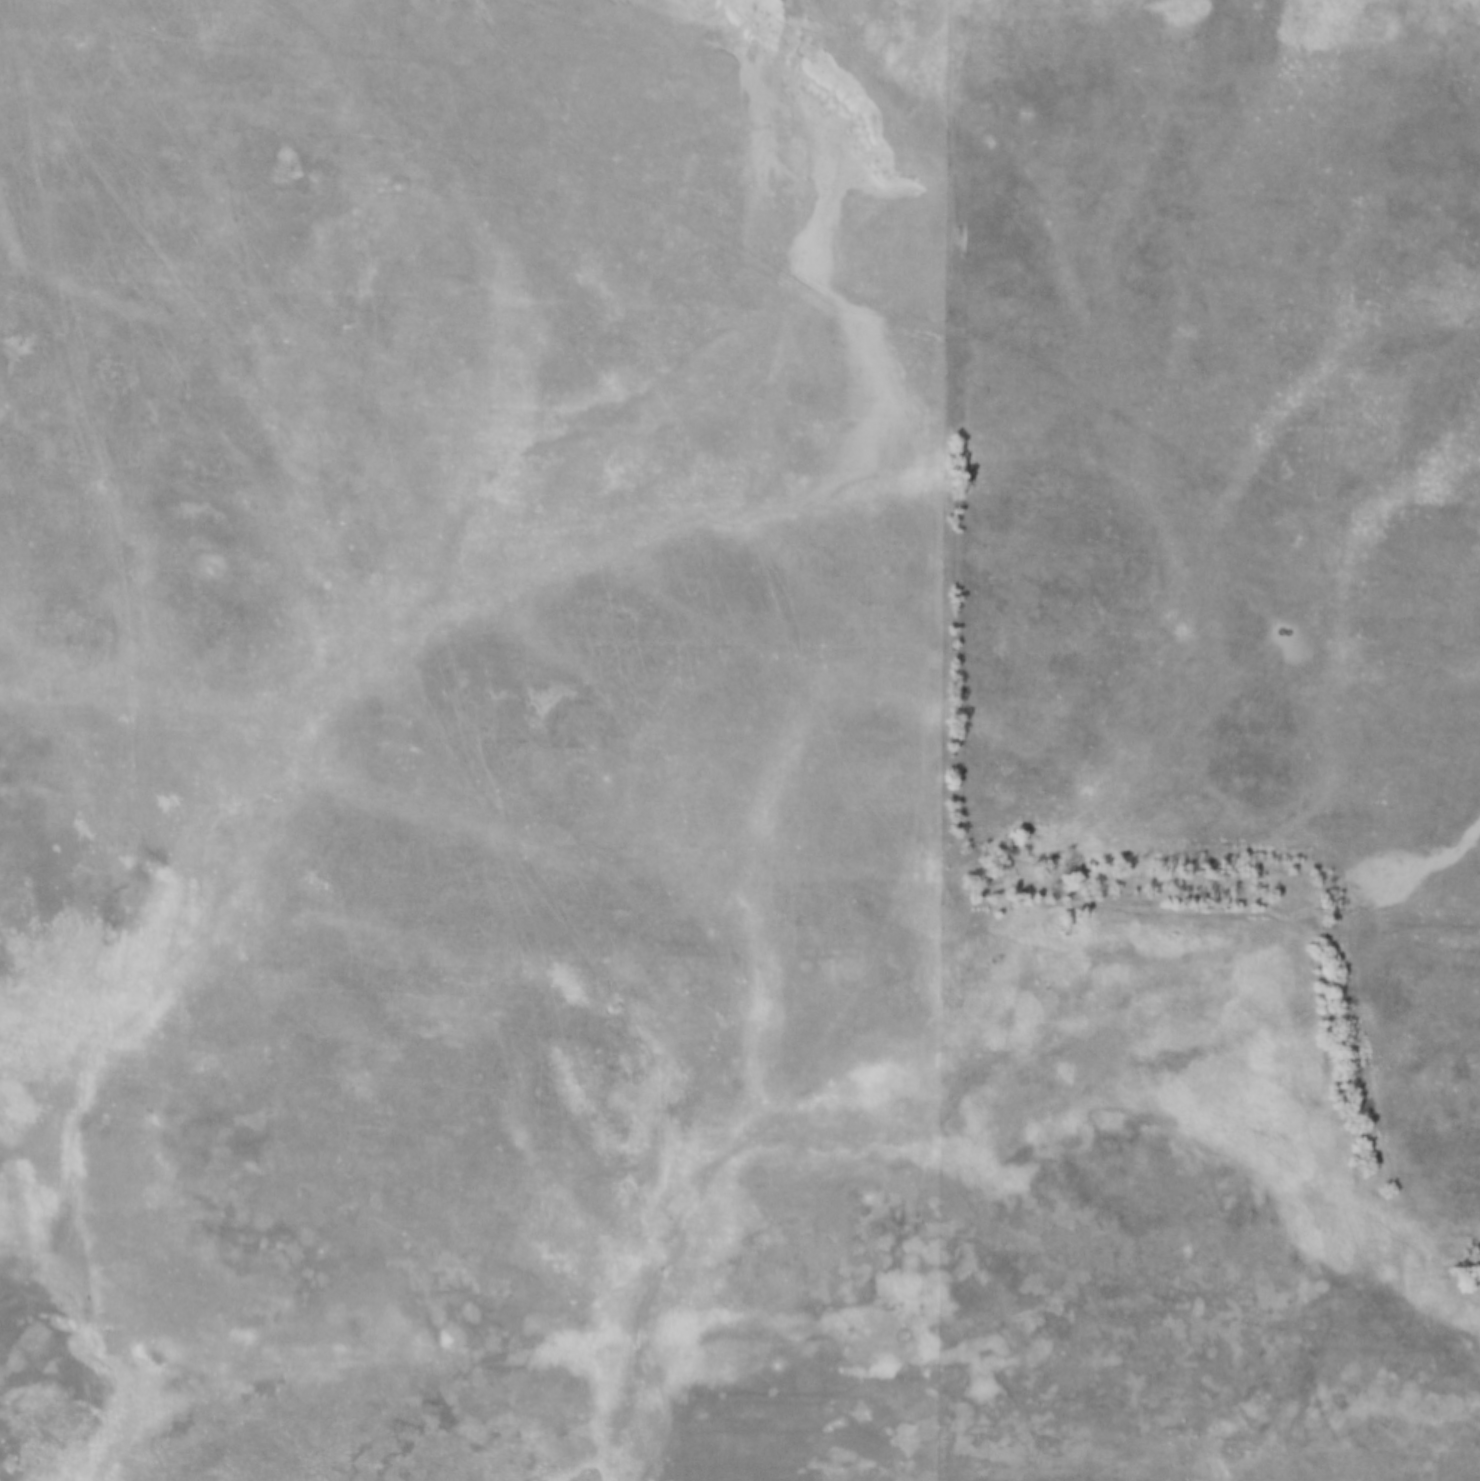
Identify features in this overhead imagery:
road: (957, 333)

